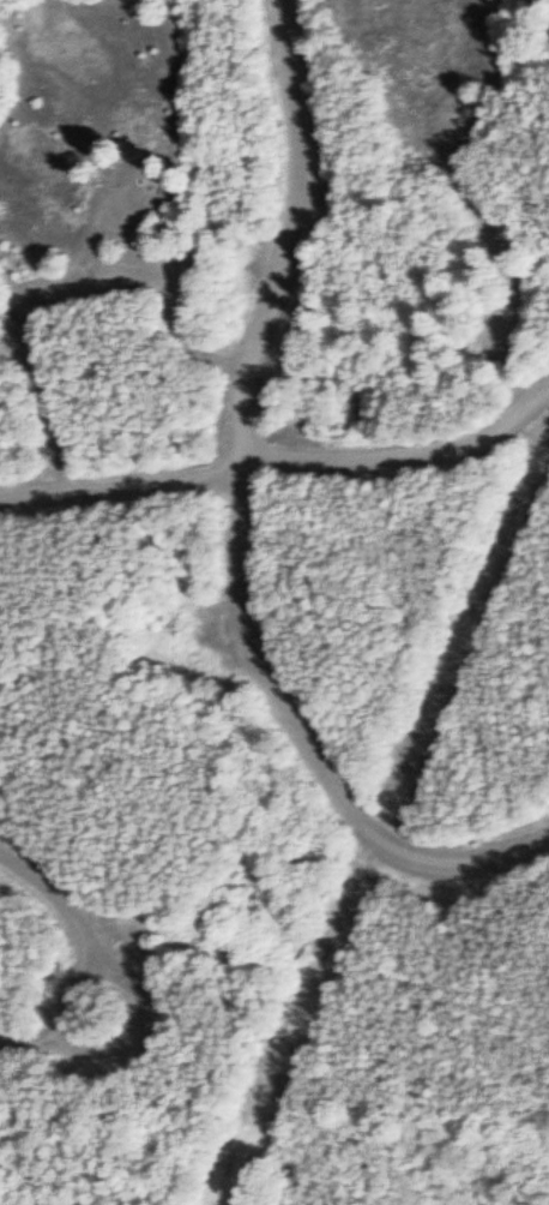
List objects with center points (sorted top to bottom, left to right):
road: (404, 458)
road: (119, 488)
road: (241, 523)
road: (50, 893)
road: (119, 1053)

